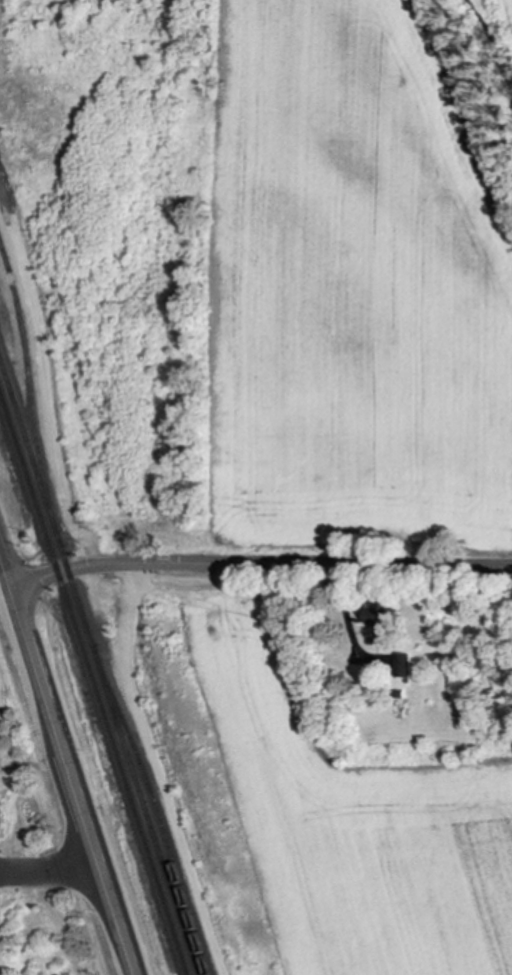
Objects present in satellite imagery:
crop: (507, 14)
crop: (355, 288)
railway: (29, 398)
road: (258, 565)
building: (378, 617)
building: (400, 665)
railway: (98, 667)
railway: (93, 683)
road: (66, 767)
road: (157, 771)
railway: (155, 808)
crop: (346, 823)
road: (50, 874)

